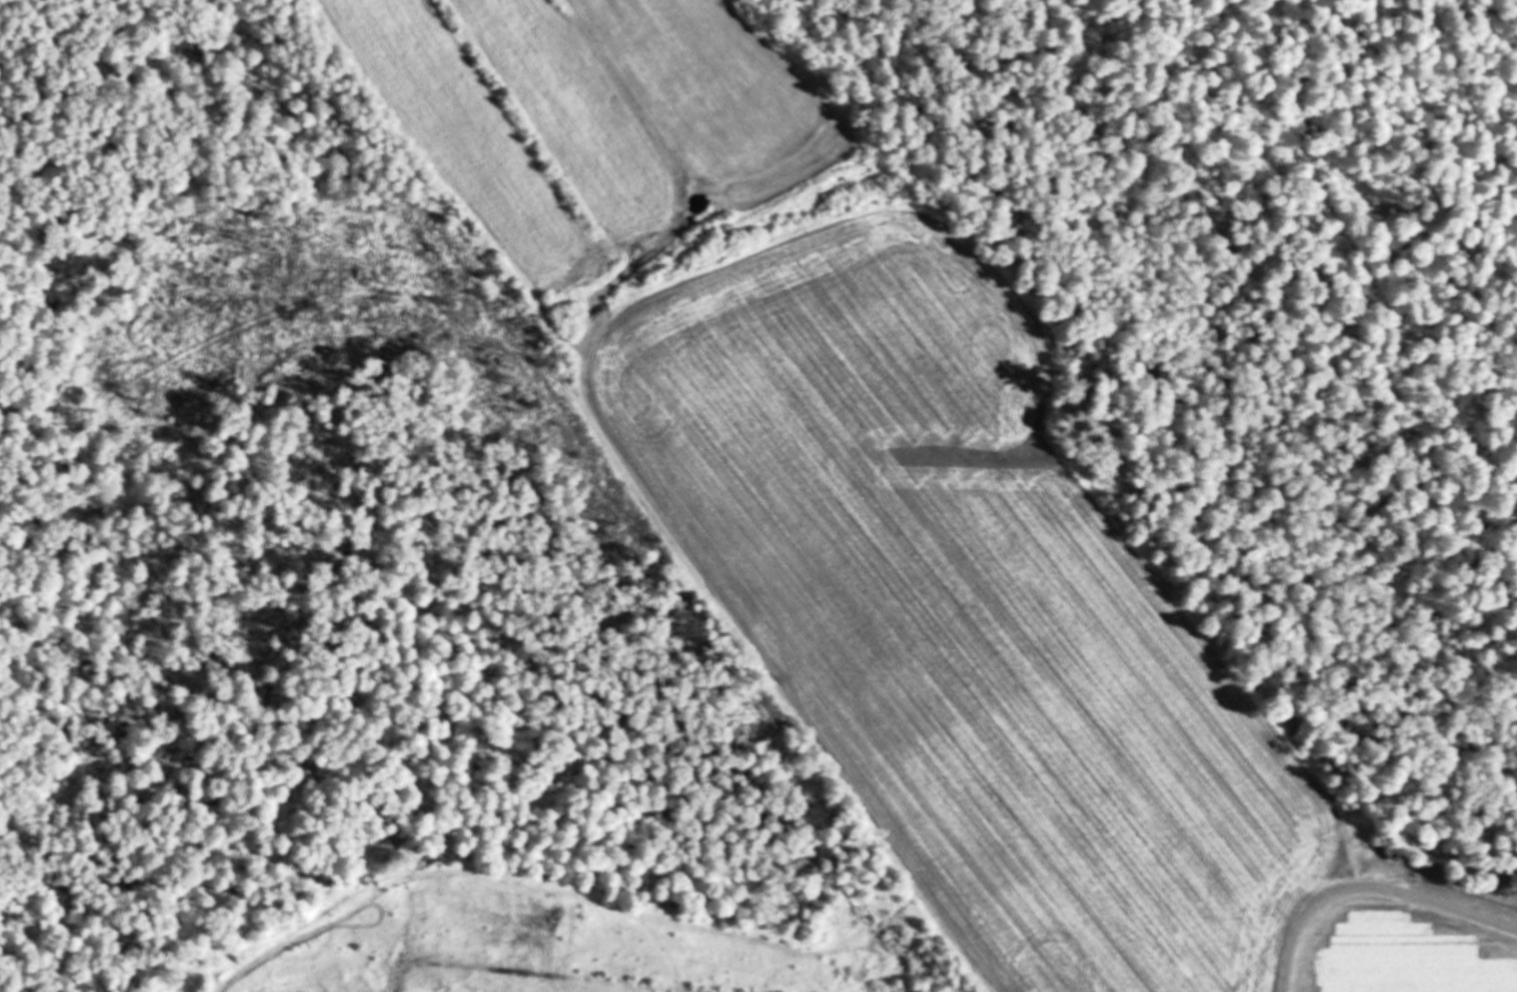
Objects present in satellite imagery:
road: (1367, 886)

